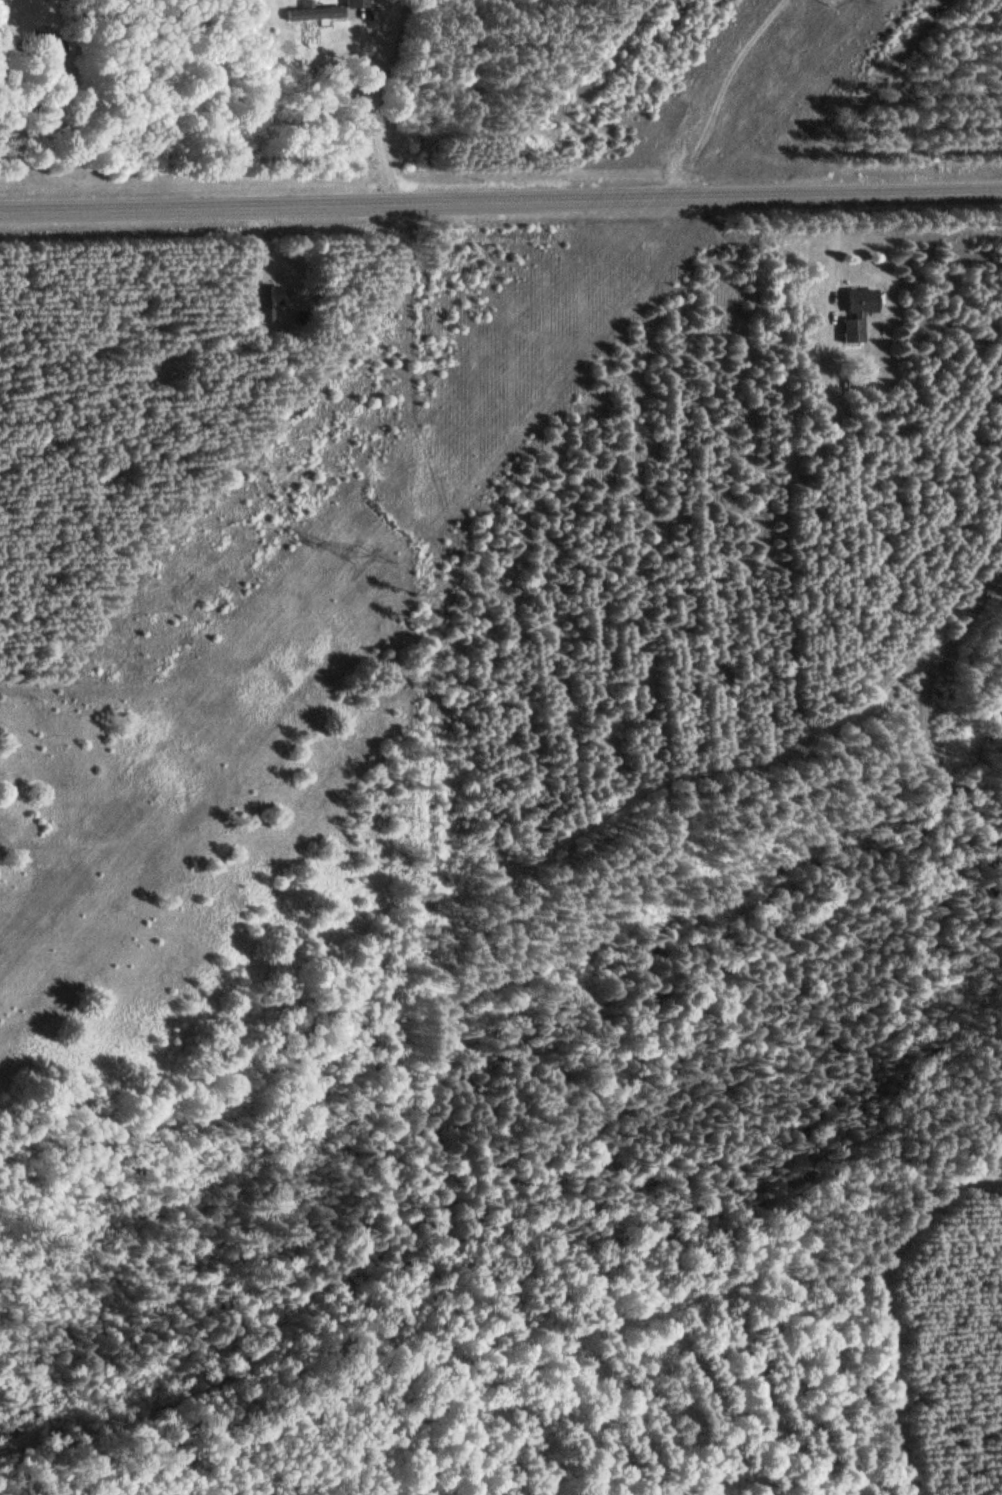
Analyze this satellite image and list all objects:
building: (355, 3)
building: (313, 12)
building: (51, 46)
road: (719, 92)
road: (501, 202)
building: (268, 296)
building: (856, 312)
power tower: (359, 556)
river: (324, 1193)
road: (878, 1302)

